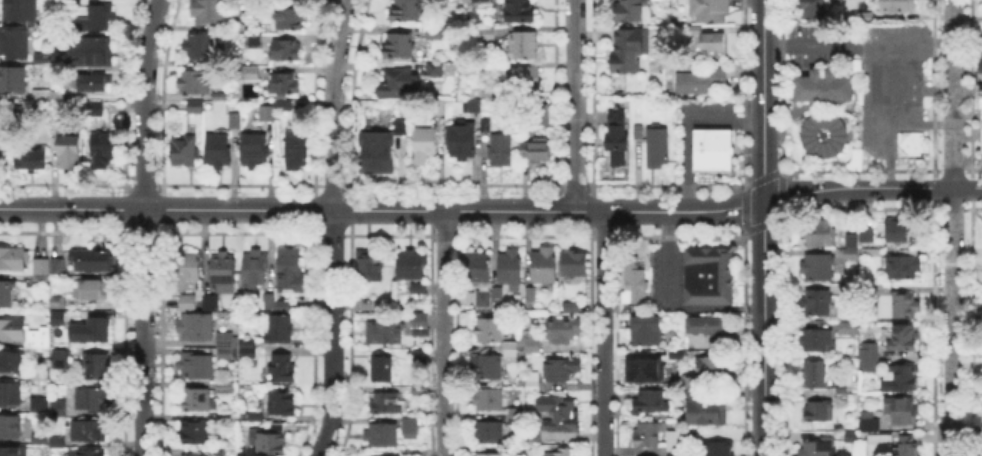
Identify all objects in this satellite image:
building: (483, 1)
building: (74, 2)
building: (896, 7)
building: (813, 9)
building: (711, 10)
building: (22, 11)
building: (520, 11)
building: (405, 12)
building: (633, 12)
building: (214, 13)
building: (99, 19)
building: (290, 20)
building: (49, 23)
building: (491, 32)
building: (434, 33)
building: (256, 40)
building: (709, 40)
road: (821, 40)
road: (915, 40)
building: (16, 45)
building: (399, 46)
building: (528, 46)
building: (202, 47)
building: (98, 52)
building: (288, 52)
building: (626, 54)
building: (46, 56)
building: (436, 71)
building: (250, 75)
building: (525, 78)
building: (13, 81)
building: (195, 81)
building: (699, 81)
building: (979, 82)
building: (286, 83)
building: (98, 84)
building: (399, 84)
building: (825, 88)
parking lot: (895, 93)
road: (953, 93)
building: (219, 94)
road: (764, 100)
building: (284, 105)
road: (574, 105)
building: (474, 107)
building: (195, 108)
parking lot: (703, 108)
building: (91, 109)
building: (266, 115)
building: (235, 120)
road: (929, 123)
road: (686, 124)
building: (402, 127)
building: (638, 131)
building: (822, 132)
road: (891, 138)
building: (981, 138)
building: (618, 140)
building: (463, 143)
building: (4, 147)
building: (426, 147)
building: (533, 147)
building: (184, 149)
building: (657, 149)
building: (710, 149)
building: (103, 150)
building: (500, 150)
building: (219, 151)
building: (296, 151)
building: (255, 152)
building: (70, 153)
building: (377, 155)
road: (887, 162)
building: (35, 163)
road: (872, 187)
traffic signals: (764, 201)
road: (382, 210)
road: (144, 227)
road: (333, 228)
building: (821, 232)
building: (900, 233)
building: (867, 234)
building: (849, 239)
building: (14, 258)
building: (95, 260)
building: (58, 262)
building: (574, 265)
building: (188, 266)
building: (413, 266)
building: (371, 267)
building: (41, 268)
building: (511, 268)
building: (546, 268)
building: (821, 268)
building: (902, 268)
building: (255, 269)
building: (480, 269)
building: (224, 271)
building: (293, 271)
parking lot: (665, 271)
building: (707, 274)
building: (635, 285)
building: (420, 289)
building: (95, 291)
building: (270, 293)
building: (7, 296)
building: (531, 296)
building: (885, 299)
building: (484, 300)
building: (189, 301)
building: (211, 302)
building: (283, 304)
building: (381, 305)
building: (820, 305)
building: (903, 305)
building: (569, 306)
road: (667, 306)
road: (953, 321)
building: (59, 323)
building: (420, 323)
building: (527, 323)
building: (197, 327)
building: (712, 327)
building: (850, 327)
road: (764, 328)
building: (281, 330)
building: (13, 331)
building: (100, 331)
building: (563, 331)
building: (491, 332)
road: (445, 333)
road: (604, 333)
building: (647, 333)
building: (386, 334)
building: (226, 336)
building: (39, 337)
building: (905, 340)
building: (248, 341)
building: (818, 341)
building: (534, 346)
building: (226, 351)
building: (510, 351)
building: (258, 352)
building: (675, 354)
building: (421, 357)
building: (63, 358)
building: (870, 358)
building: (12, 361)
building: (196, 367)
building: (490, 367)
building: (96, 368)
building: (711, 368)
building: (383, 369)
building: (282, 371)
building: (561, 371)
building: (649, 371)
building: (815, 376)
building: (903, 378)
building: (533, 382)
building: (689, 384)
building: (226, 388)
building: (420, 388)
building: (12, 394)
building: (695, 395)
building: (94, 399)
building: (490, 400)
building: (196, 402)
building: (386, 403)
building: (650, 403)
building: (284, 404)
building: (38, 405)
building: (58, 406)
building: (902, 411)
building: (820, 412)
building: (706, 414)
building: (560, 415)
building: (517, 416)
building: (866, 419)
building: (872, 425)
building: (277, 427)
building: (10, 428)
building: (411, 428)
building: (90, 430)
building: (195, 434)
building: (488, 434)
building: (534, 434)
building: (647, 436)
building: (851, 436)
building: (383, 437)
building: (674, 441)
building: (272, 444)
building: (878, 445)
building: (908, 445)
building: (721, 449)
building: (817, 449)
building: (84, 451)
building: (421, 451)
building: (13, 452)
building: (563, 453)
building: (674, 453)
building: (192, 454)
building: (385, 455)
building: (490, 455)

